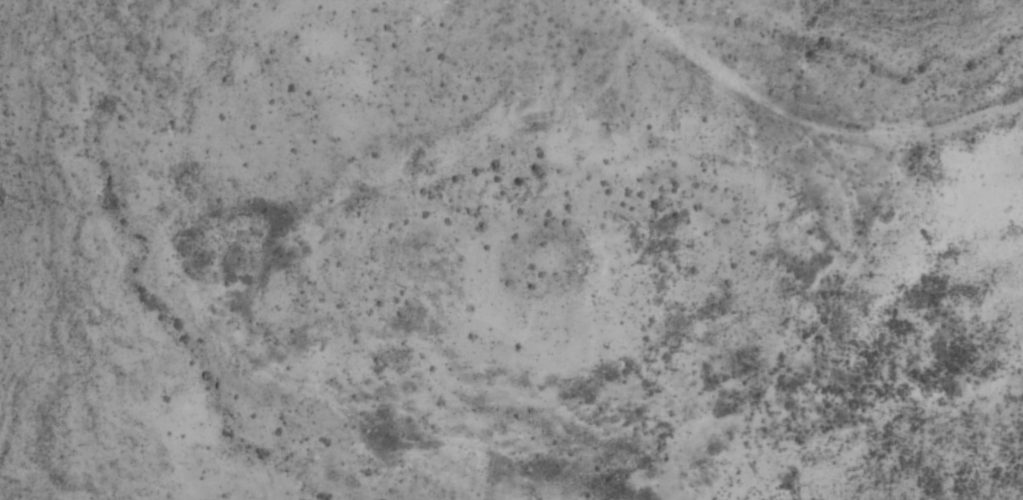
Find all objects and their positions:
road: (810, 117)
park: (511, 250)

